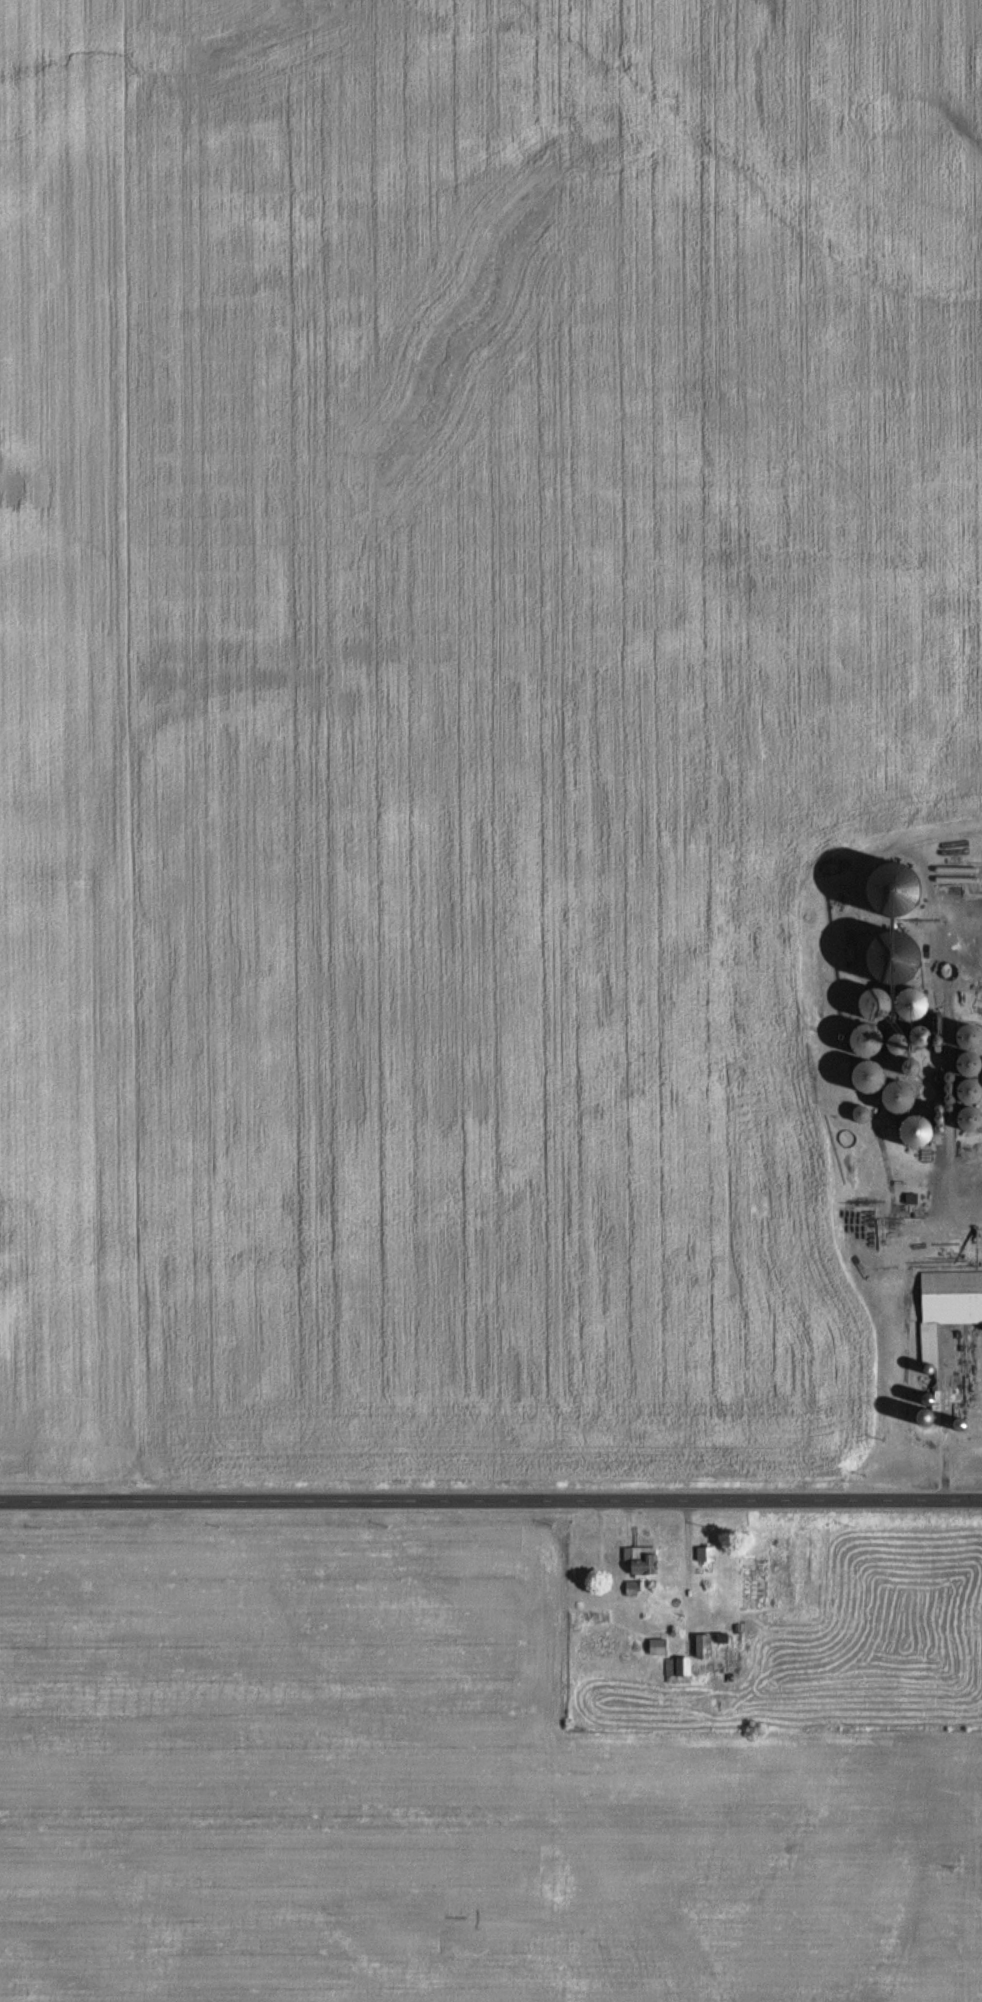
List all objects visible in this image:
crop: (463, 707)
building: (948, 1300)
road: (491, 1501)
building: (704, 1553)
building: (640, 1559)
building: (701, 1645)
building: (655, 1646)
building: (676, 1669)
crop: (430, 1795)

